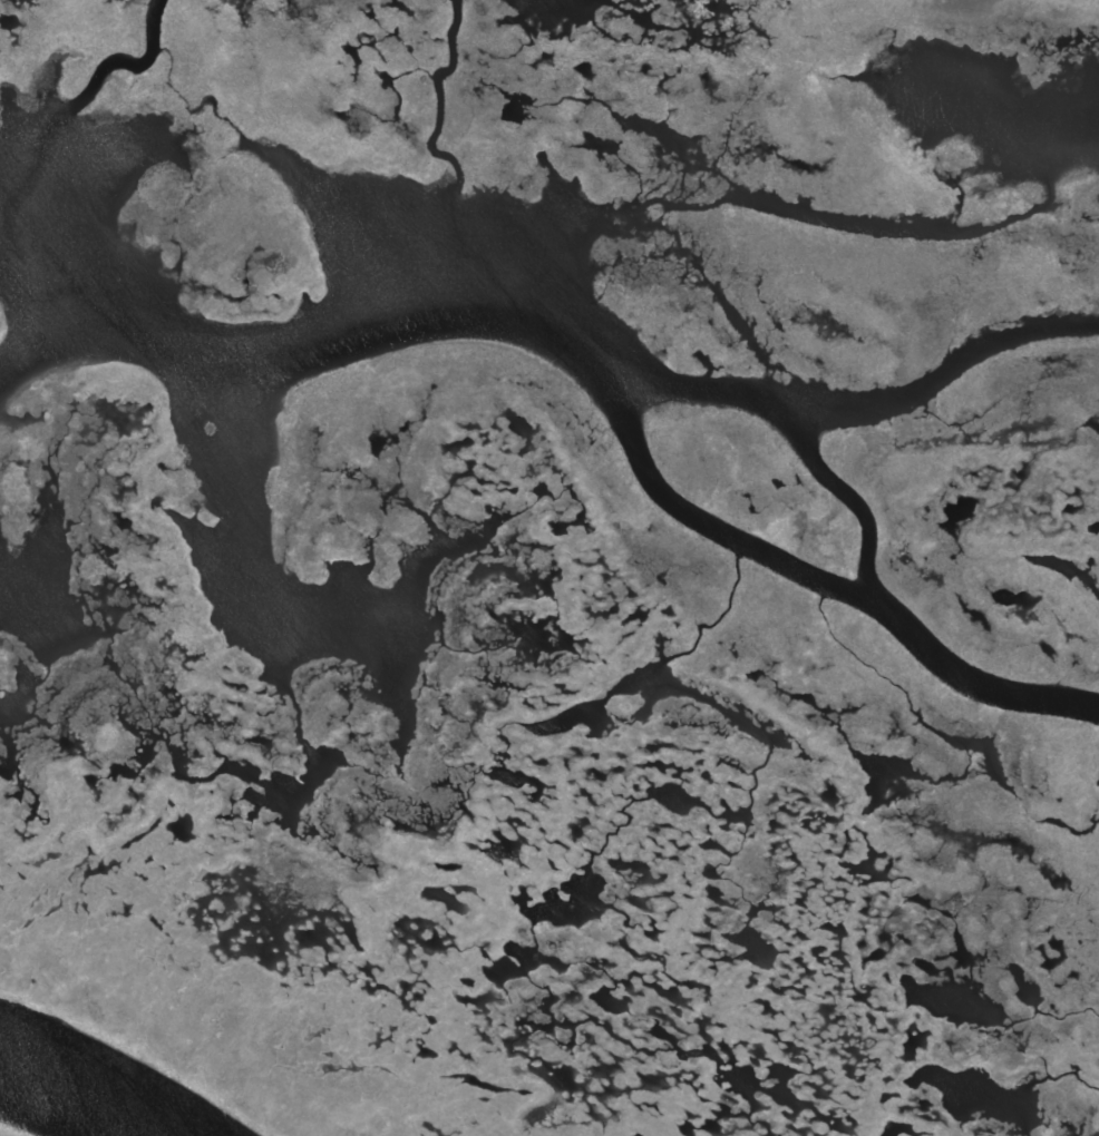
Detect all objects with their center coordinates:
river: (41, 1114)

